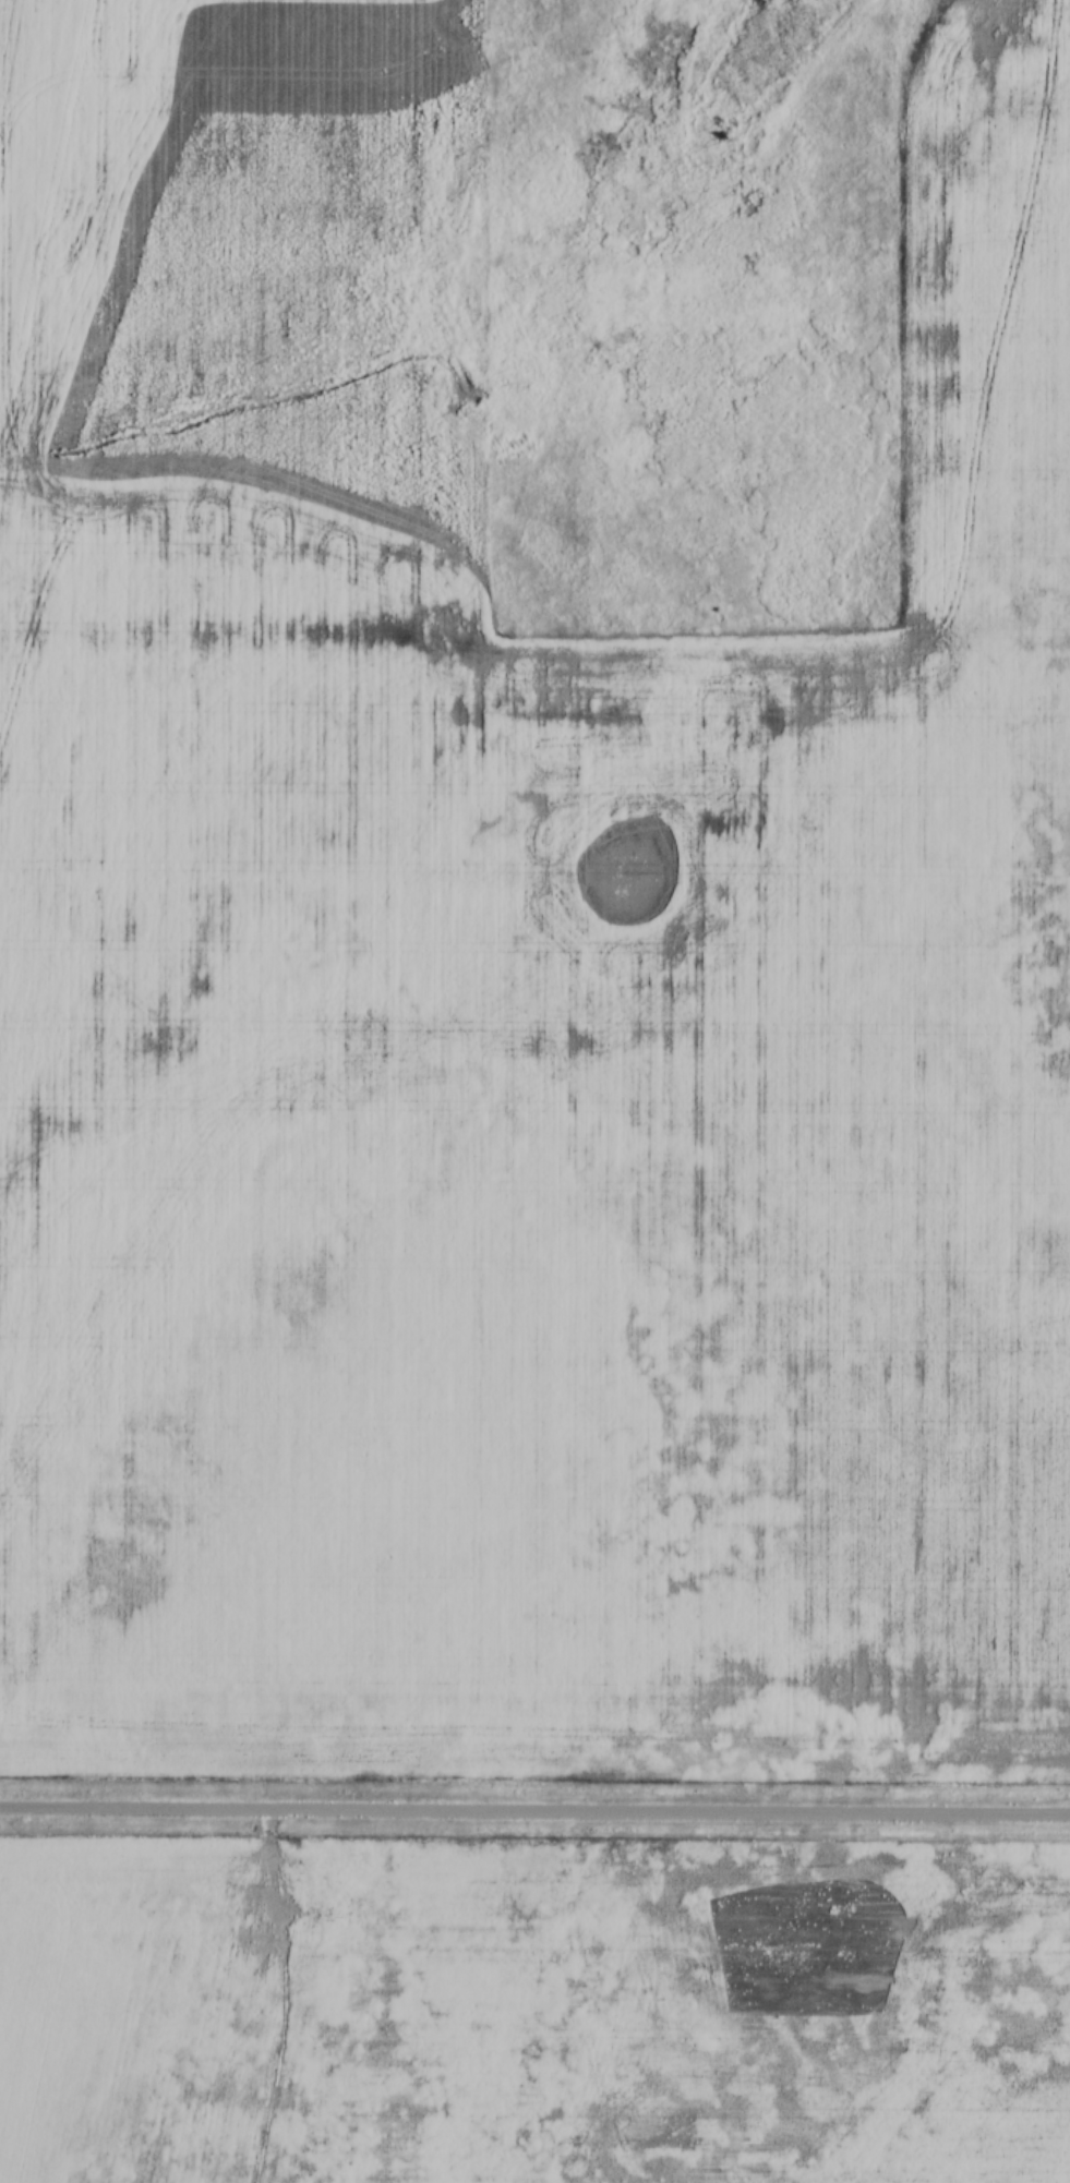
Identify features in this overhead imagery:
road: (534, 1805)

